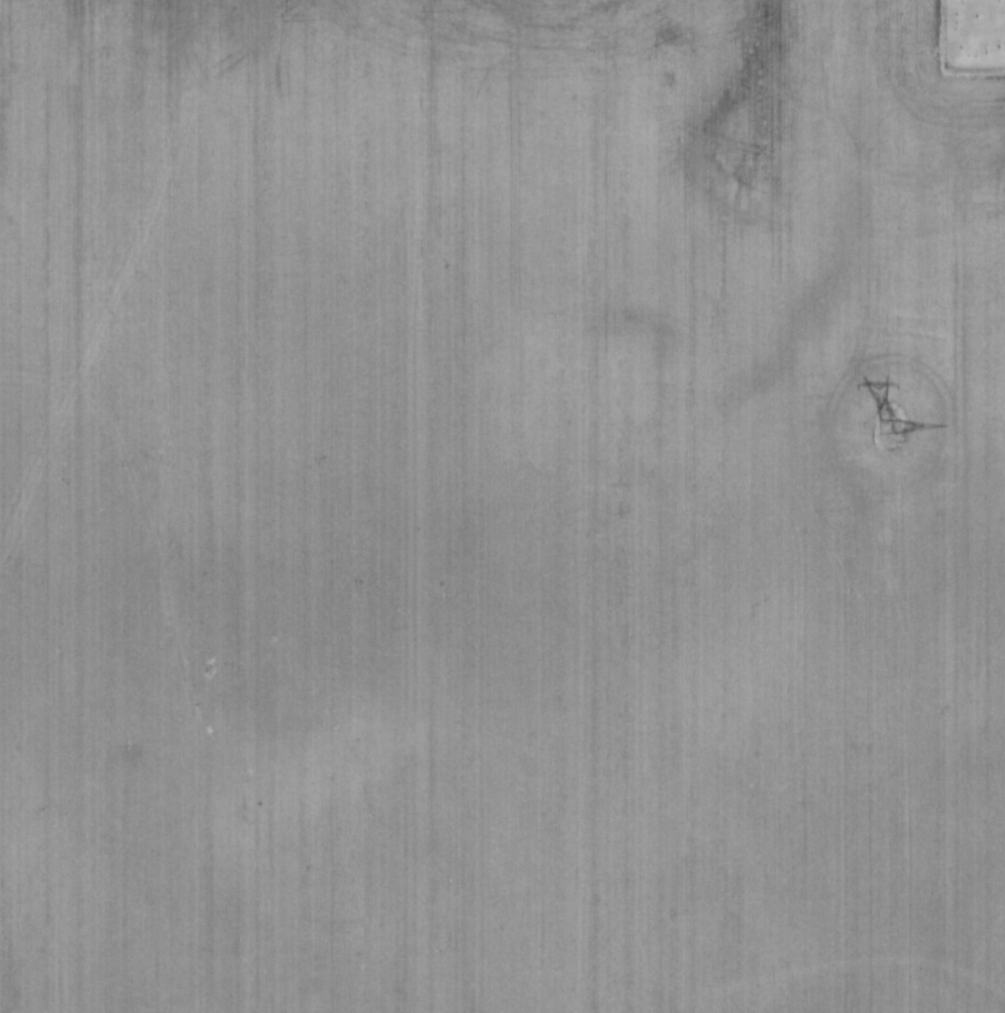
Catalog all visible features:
power tower: (887, 424)

